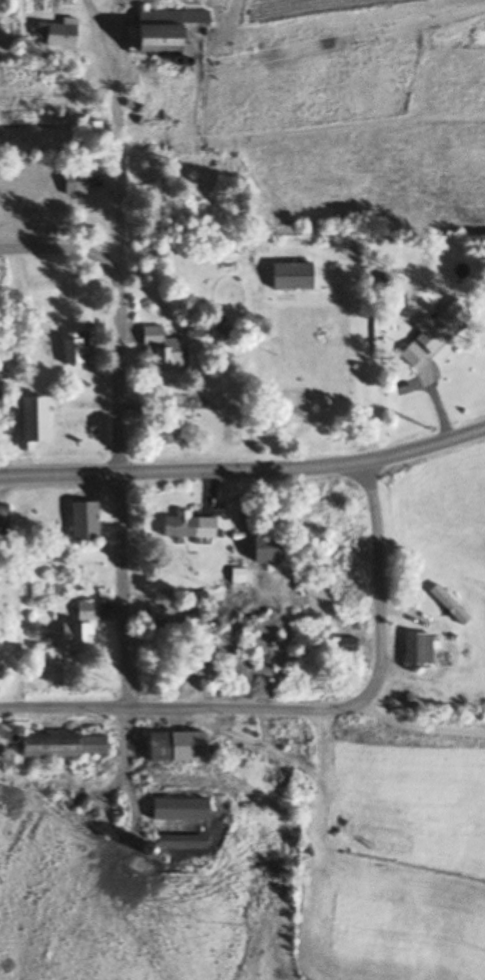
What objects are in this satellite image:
building: (158, 30)
building: (54, 34)
building: (88, 130)
crop: (363, 131)
building: (76, 180)
road: (59, 249)
building: (288, 276)
building: (190, 330)
building: (431, 332)
building: (69, 350)
building: (162, 350)
road: (117, 353)
building: (30, 419)
building: (163, 434)
road: (245, 469)
crop: (444, 509)
building: (3, 521)
building: (80, 521)
building: (186, 526)
building: (261, 548)
building: (446, 604)
building: (85, 610)
building: (70, 637)
building: (344, 644)
building: (417, 651)
road: (305, 710)
road: (416, 730)
building: (69, 745)
building: (172, 747)
road: (124, 763)
building: (176, 809)
building: (177, 841)
crop: (391, 902)

